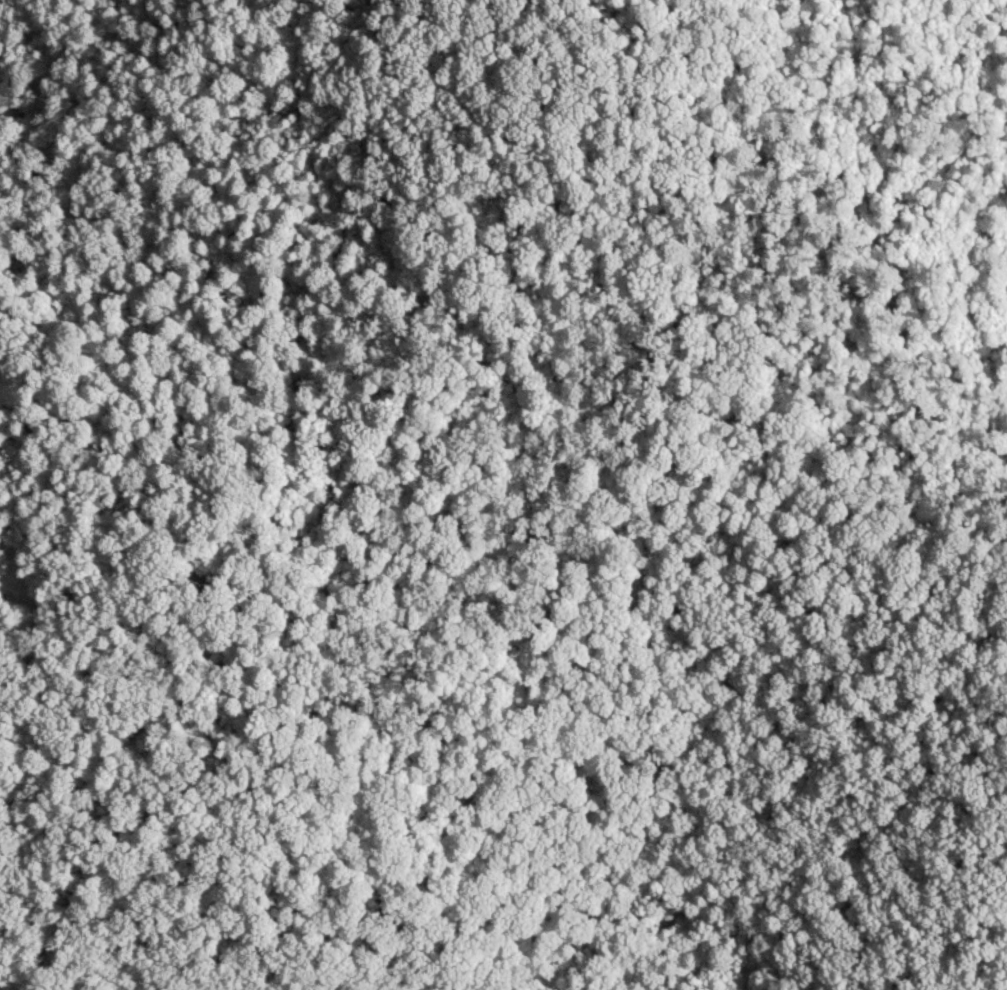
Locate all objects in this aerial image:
road: (290, 317)

